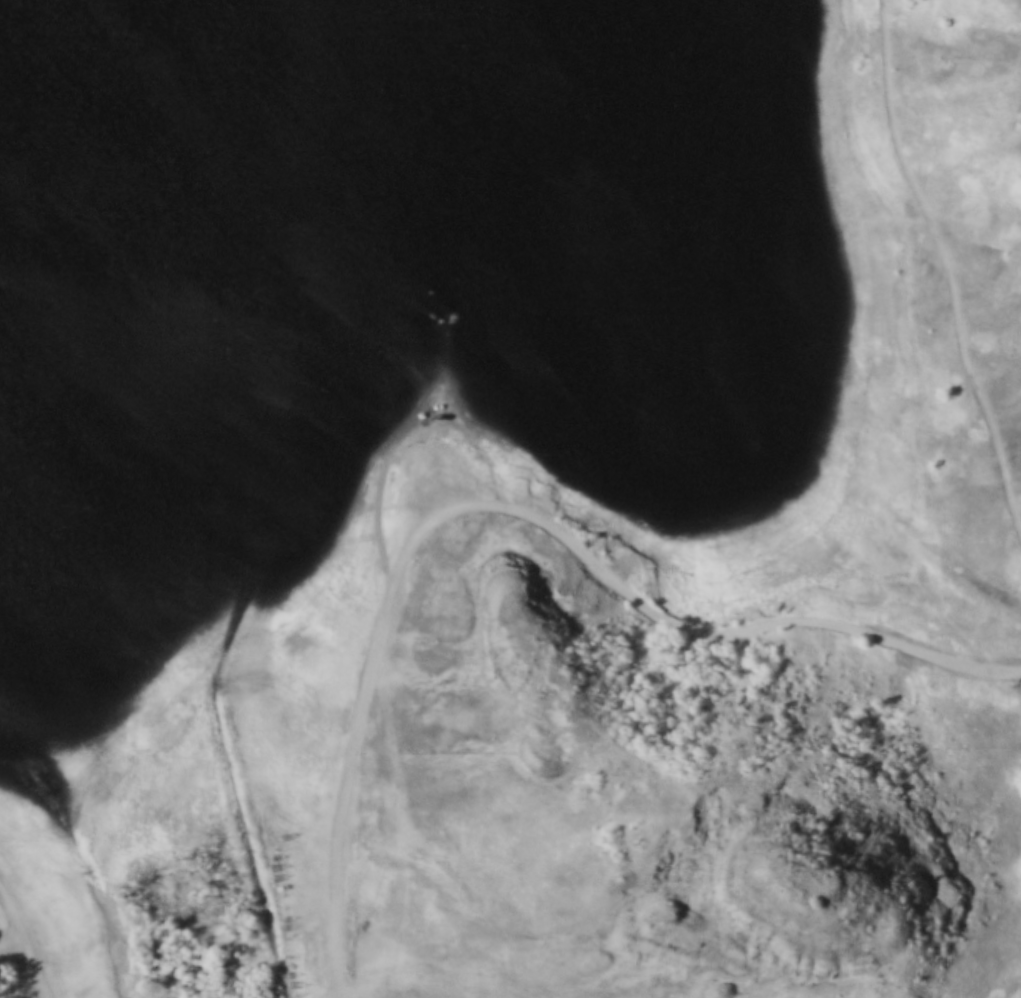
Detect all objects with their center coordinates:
pier: (402, 237)
pier: (484, 259)
pier: (503, 307)
pier: (387, 327)
road: (508, 512)
road: (209, 563)
road: (28, 938)
road: (15, 949)

